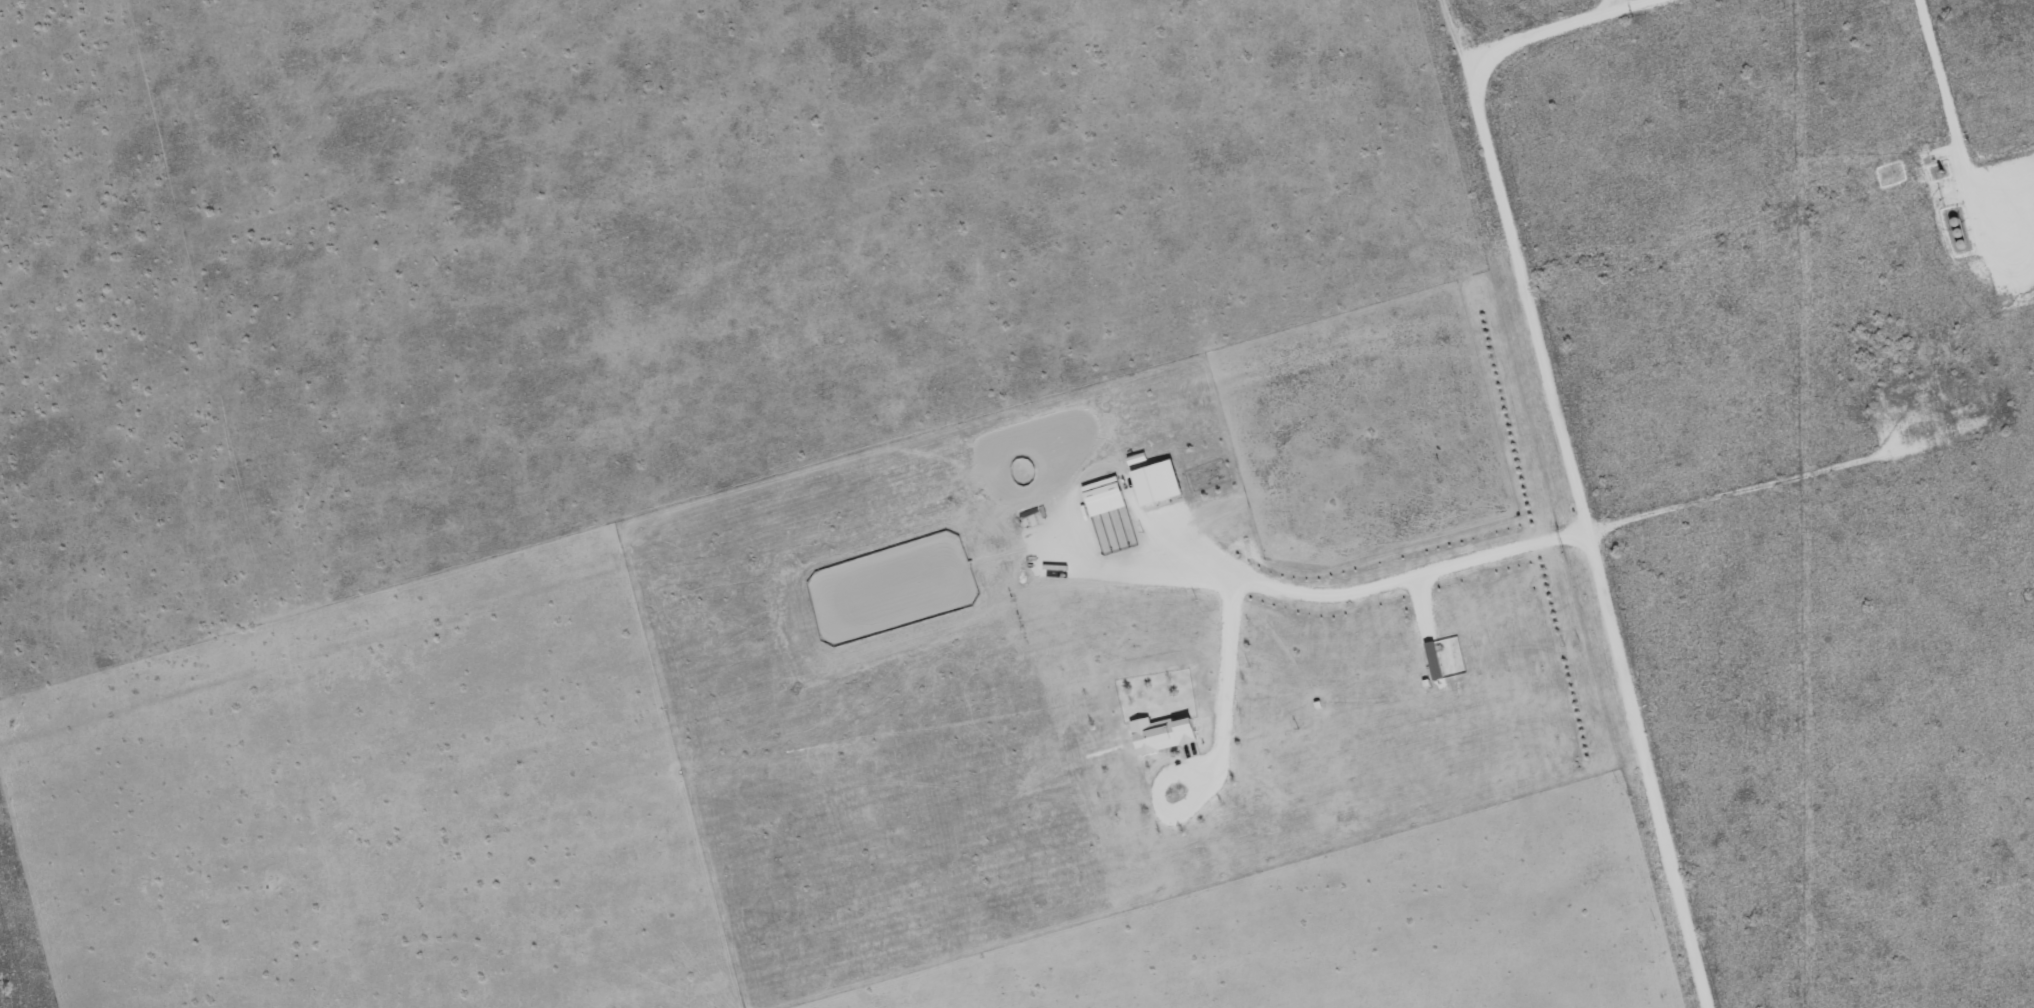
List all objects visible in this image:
road: (1550, 353)
building: (1154, 481)
building: (1102, 495)
road: (1663, 829)

